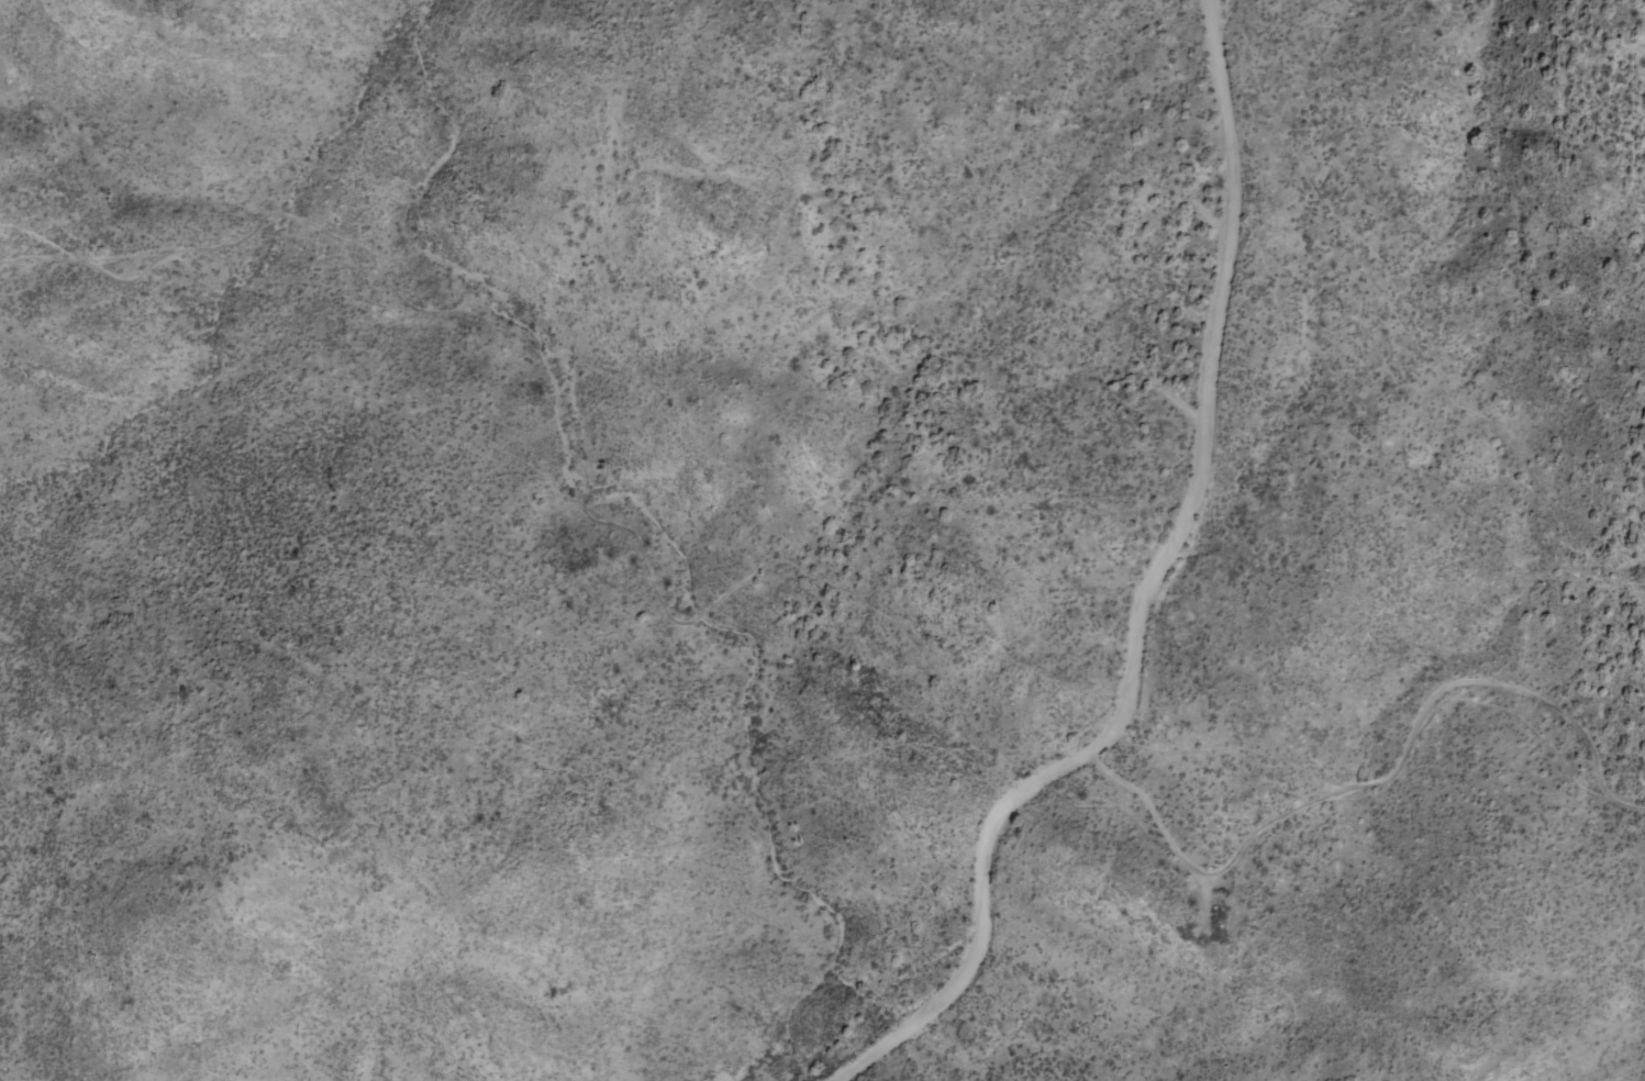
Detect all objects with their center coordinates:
road: (1169, 591)
road: (1161, 823)

